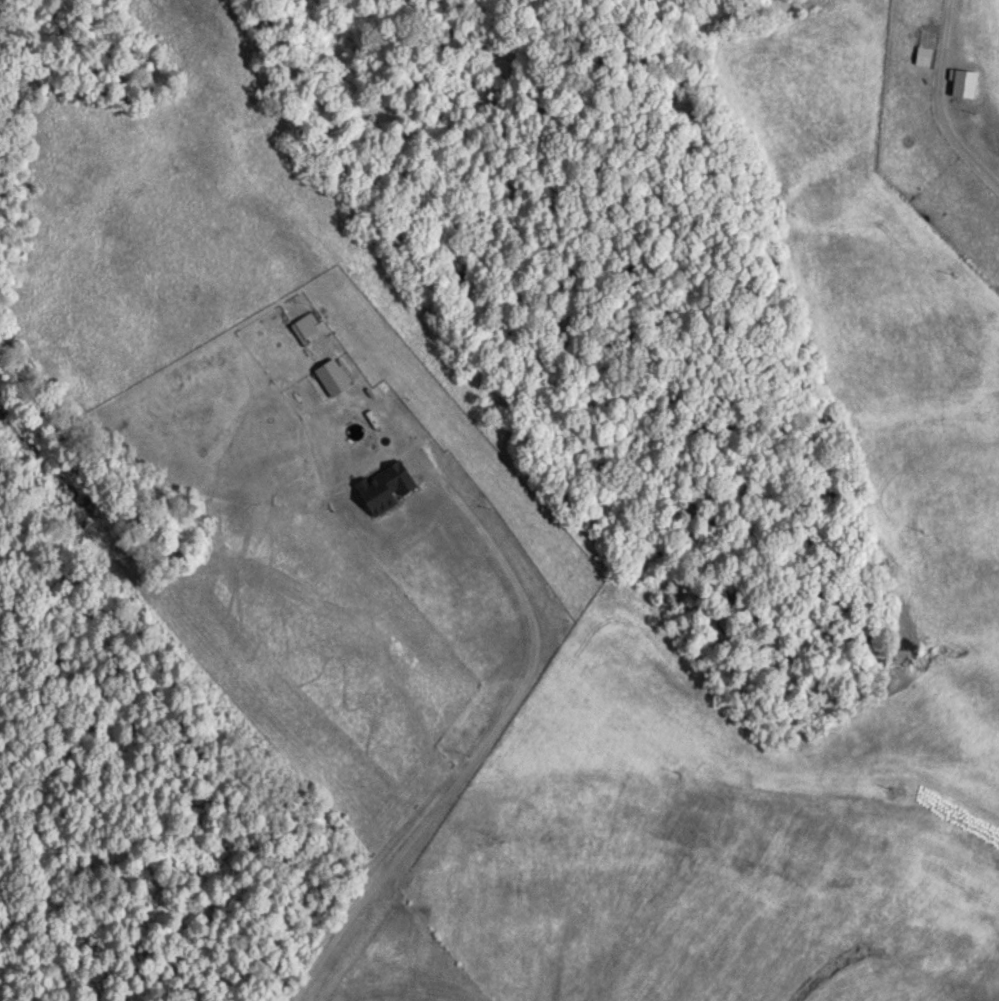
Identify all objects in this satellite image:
road: (970, 165)
building: (301, 332)
building: (389, 484)
road: (483, 737)

